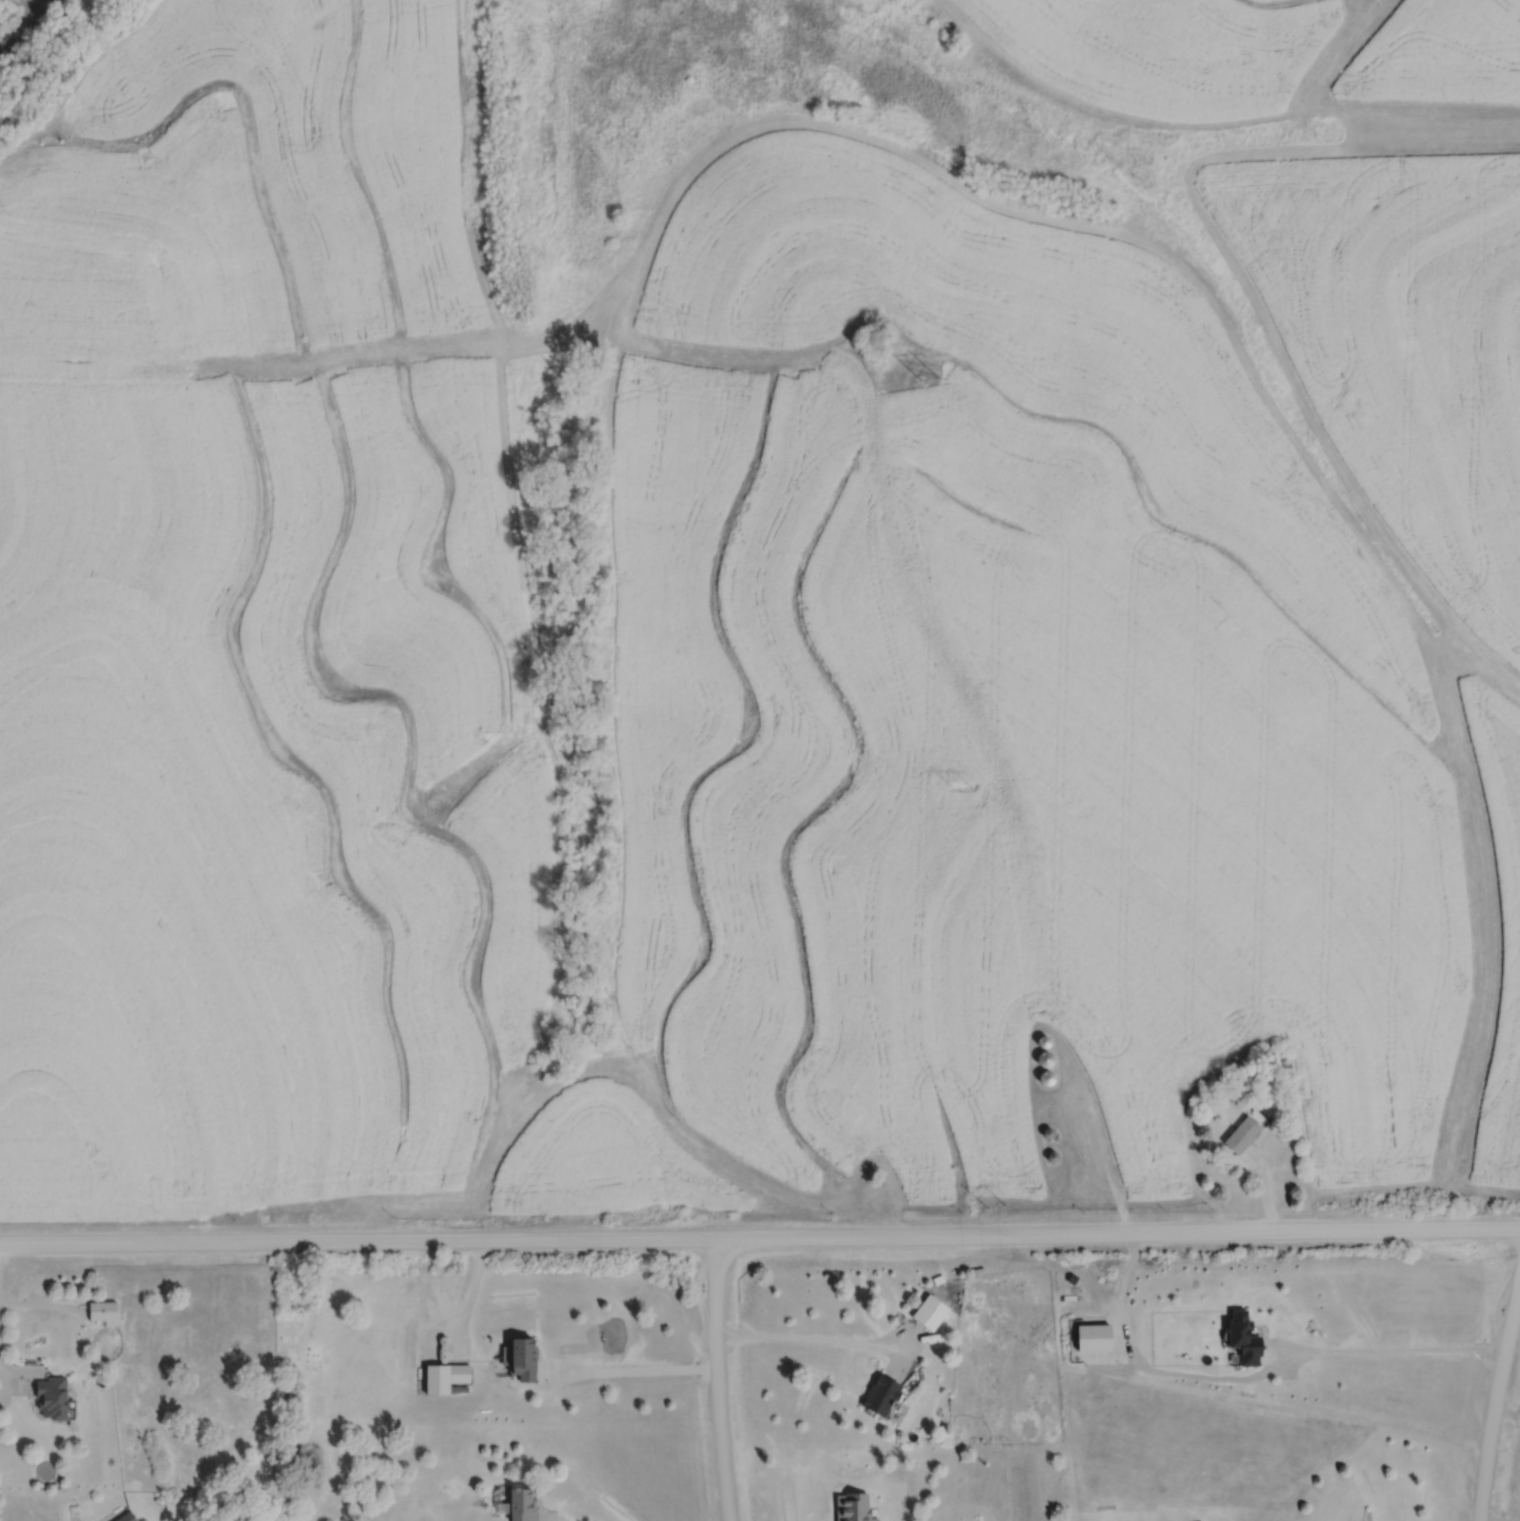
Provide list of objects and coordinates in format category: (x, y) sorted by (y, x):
railway: (18, 19)
road: (95, 21)
power tower: (937, 380)
power tower: (966, 788)
building: (1042, 1040)
building: (1043, 1057)
building: (1045, 1076)
building: (1047, 1131)
building: (1243, 1131)
building: (1051, 1155)
road: (1266, 1187)
power tower: (1002, 1206)
road: (760, 1235)
road: (41, 1304)
building: (930, 1308)
road: (464, 1311)
building: (101, 1312)
road: (817, 1337)
building: (1242, 1339)
road: (1386, 1349)
building: (522, 1359)
road: (629, 1370)
road: (22, 1372)
building: (444, 1377)
road: (717, 1378)
building: (881, 1392)
building: (50, 1398)
road: (1495, 1401)
road: (1507, 1412)
building: (943, 1424)
building: (523, 1503)
building: (853, 1506)
road: (962, 1506)
building: (125, 1516)
road: (1500, 1519)
building: (1200, 1520)

